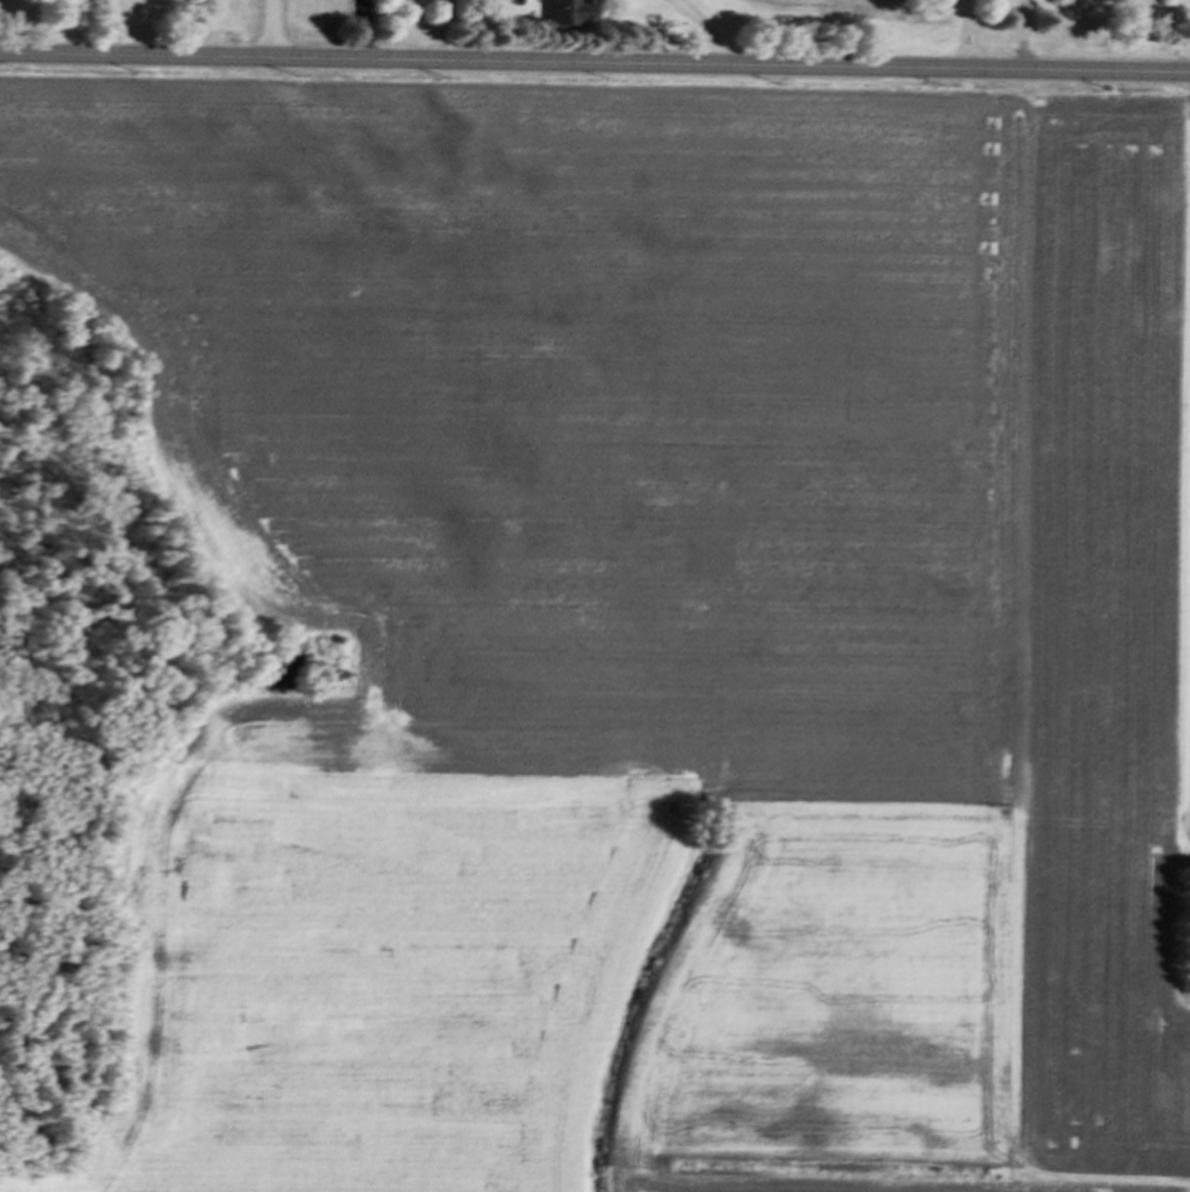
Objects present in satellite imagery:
building: (581, 14)
road: (707, 25)
road: (80, 26)
road: (594, 62)
crop: (654, 632)

